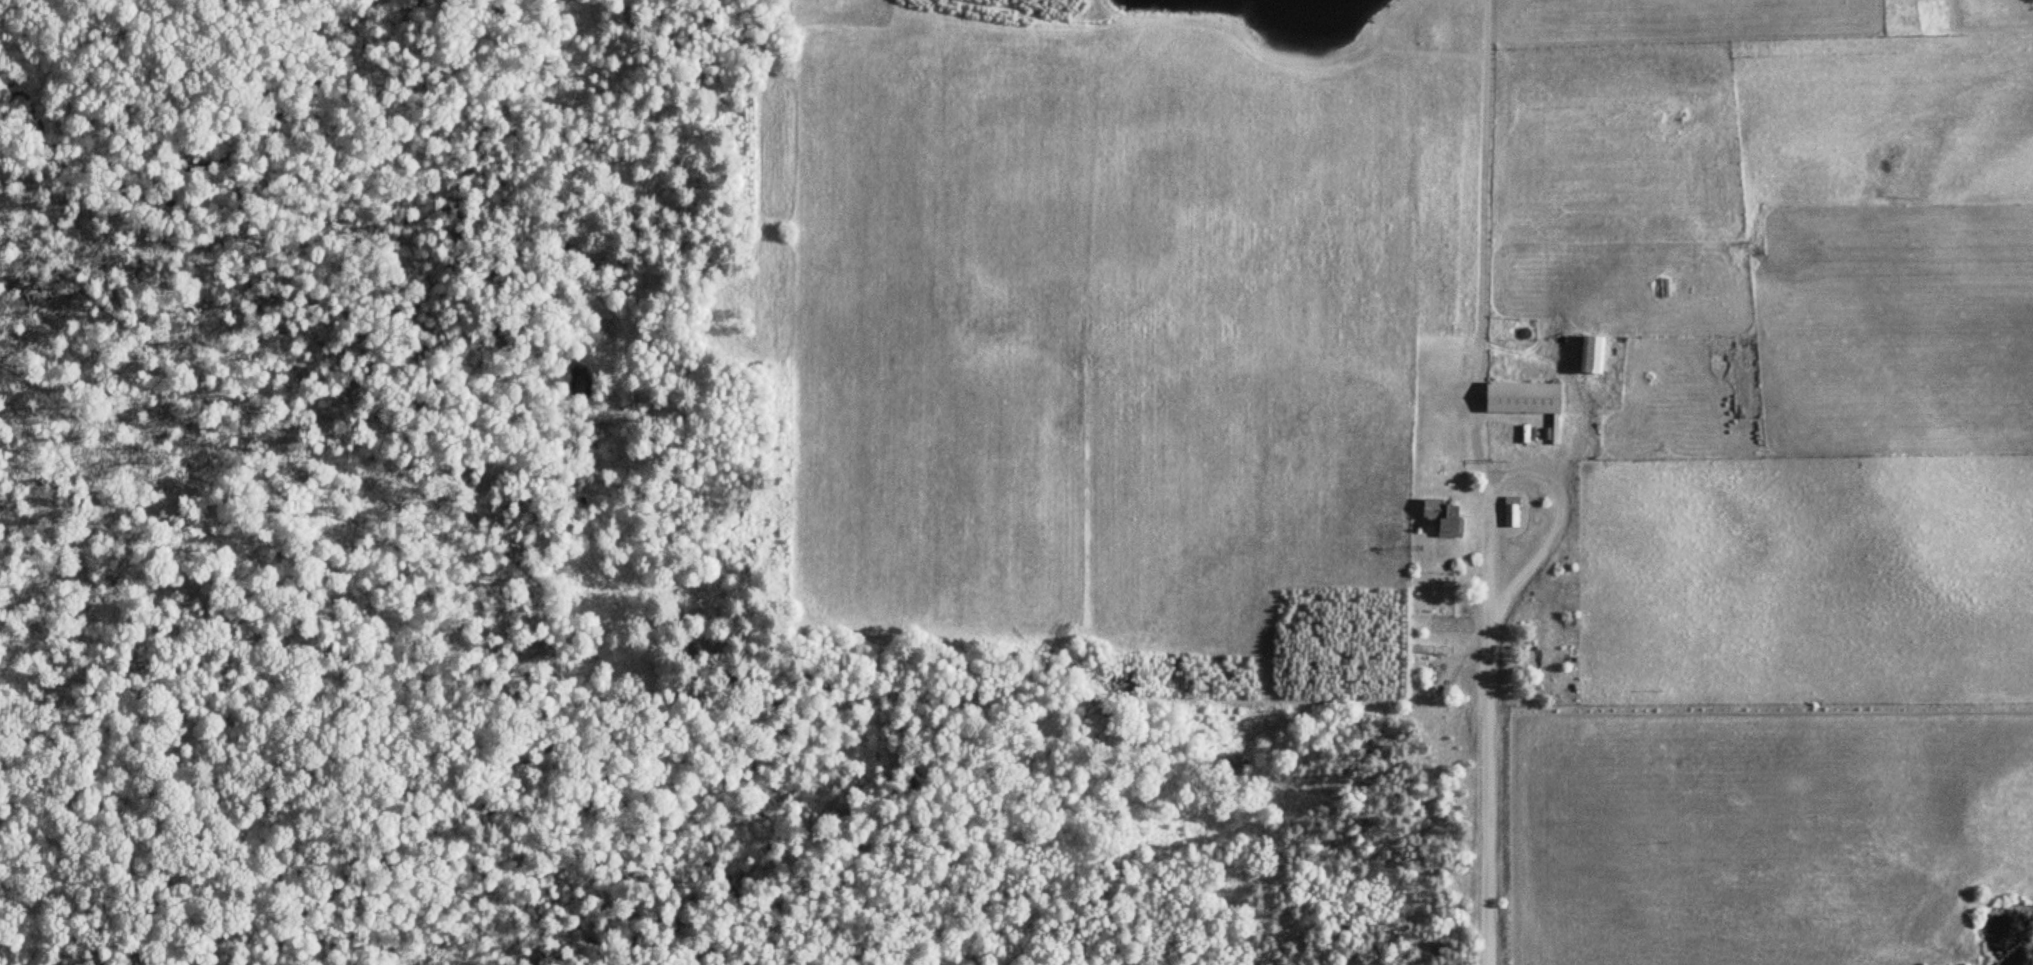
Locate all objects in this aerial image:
building: (1595, 354)
building: (1528, 399)
building: (1513, 510)
building: (1447, 514)
building: (1431, 648)
road: (1487, 798)

